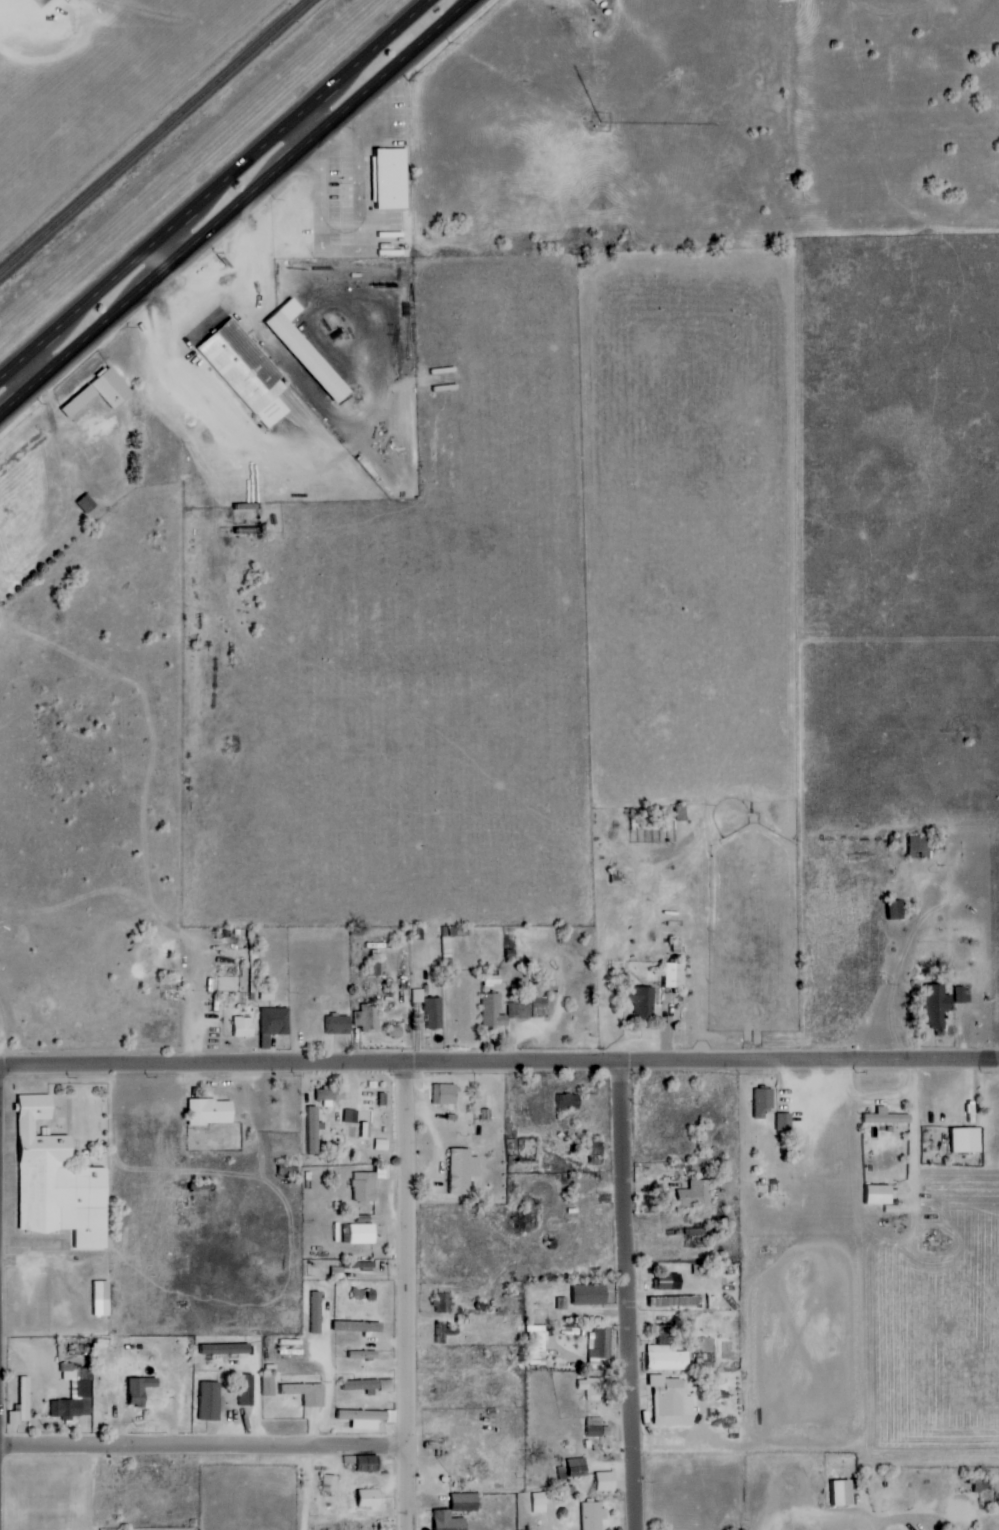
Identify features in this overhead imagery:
road: (310, 117)
railway: (153, 135)
building: (392, 178)
road: (211, 187)
road: (232, 206)
road: (168, 246)
road: (281, 345)
building: (308, 351)
building: (247, 372)
building: (102, 392)
road: (68, 458)
building: (87, 504)
building: (920, 846)
building: (895, 909)
building: (676, 974)
building: (268, 993)
building: (964, 994)
building: (643, 998)
building: (938, 1005)
building: (514, 1008)
building: (434, 1013)
building: (368, 1017)
building: (275, 1023)
building: (340, 1024)
building: (244, 1026)
building: (396, 1031)
road: (499, 1066)
building: (446, 1094)
building: (570, 1101)
building: (761, 1102)
building: (212, 1112)
building: (351, 1116)
building: (888, 1117)
building: (785, 1121)
building: (313, 1130)
building: (964, 1141)
building: (596, 1147)
building: (464, 1170)
building: (59, 1182)
building: (695, 1194)
building: (881, 1194)
building: (359, 1234)
building: (670, 1282)
building: (591, 1294)
road: (626, 1296)
road: (402, 1297)
building: (103, 1298)
building: (675, 1301)
building: (444, 1303)
building: (313, 1311)
building: (359, 1327)
building: (601, 1342)
building: (538, 1345)
building: (227, 1348)
building: (364, 1354)
building: (666, 1358)
road: (331, 1367)
building: (268, 1385)
building: (362, 1385)
building: (387, 1385)
building: (592, 1388)
building: (84, 1390)
building: (137, 1390)
building: (243, 1390)
building: (306, 1393)
building: (208, 1401)
building: (671, 1402)
building: (23, 1403)
building: (368, 1418)
building: (595, 1427)
road: (201, 1443)
building: (365, 1463)
building: (578, 1467)
building: (606, 1481)
building: (330, 1483)
road: (90, 1486)
road: (304, 1486)
building: (842, 1493)
building: (371, 1498)
building: (466, 1502)
building: (539, 1503)
building: (593, 1516)
building: (450, 1521)

